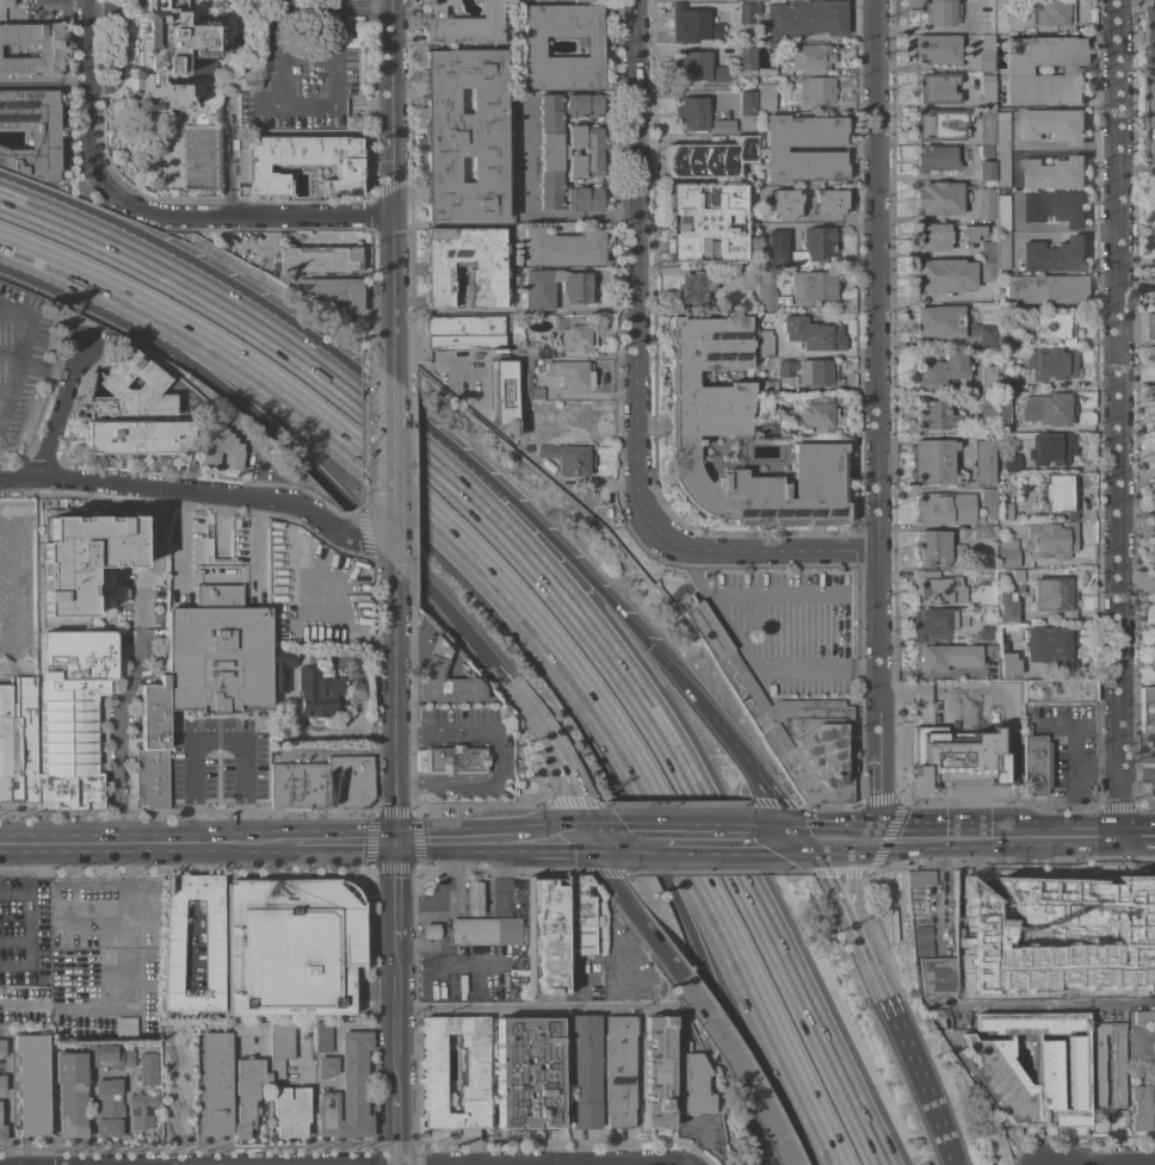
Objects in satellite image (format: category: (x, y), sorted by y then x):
building: (478, 0)
building: (581, 0)
building: (735, 0)
building: (48, 1)
building: (6, 2)
road: (334, 5)
building: (758, 7)
road: (362, 8)
building: (747, 12)
building: (934, 12)
building: (1054, 13)
building: (804, 18)
building: (986, 23)
building: (1002, 23)
building: (463, 24)
building: (693, 24)
building: (1150, 33)
building: (774, 44)
road: (116, 45)
building: (533, 45)
building: (49, 49)
building: (937, 49)
building: (166, 52)
building: (987, 52)
building: (809, 56)
building: (747, 57)
parking lot: (308, 67)
building: (700, 67)
building: (765, 70)
building: (1018, 70)
road: (43, 78)
road: (43, 86)
building: (937, 87)
building: (816, 89)
building: (988, 89)
building: (766, 97)
building: (746, 101)
road: (280, 105)
road: (366, 106)
road: (87, 107)
building: (691, 113)
building: (1151, 122)
building: (940, 124)
building: (1054, 124)
building: (722, 125)
building: (988, 125)
building: (1002, 130)
building: (32, 131)
building: (464, 134)
building: (5, 136)
building: (742, 141)
road: (931, 142)
building: (774, 148)
building: (585, 150)
building: (986, 150)
building: (550, 151)
building: (564, 151)
road: (1051, 151)
building: (696, 156)
building: (938, 157)
road: (230, 159)
building: (303, 162)
building: (748, 163)
building: (1002, 166)
building: (987, 171)
building: (1052, 173)
road: (932, 175)
road: (388, 188)
building: (940, 198)
building: (762, 199)
building: (810, 199)
road: (23, 200)
building: (986, 203)
road: (23, 204)
building: (784, 204)
building: (1054, 206)
road: (529, 207)
building: (1002, 213)
building: (765, 215)
road: (254, 216)
building: (706, 222)
road: (823, 223)
building: (972, 233)
road: (1052, 233)
building: (933, 236)
road: (268, 240)
building: (814, 246)
building: (562, 247)
building: (776, 247)
building: (989, 248)
building: (1002, 250)
building: (1054, 255)
building: (316, 259)
road: (42, 261)
building: (487, 266)
building: (988, 267)
road: (166, 273)
building: (556, 274)
building: (944, 274)
building: (748, 275)
building: (814, 285)
building: (577, 287)
building: (693, 287)
building: (1045, 289)
building: (334, 290)
building: (537, 290)
building: (766, 290)
road: (4, 311)
building: (938, 321)
building: (1054, 326)
building: (1153, 326)
building: (574, 331)
building: (465, 333)
building: (813, 334)
building: (981, 335)
building: (1005, 341)
building: (764, 343)
building: (533, 351)
road: (11, 352)
road: (19, 358)
building: (1051, 364)
road: (45, 367)
building: (941, 367)
building: (807, 371)
building: (572, 373)
building: (988, 378)
building: (152, 379)
building: (525, 380)
road: (635, 382)
building: (1007, 382)
building: (768, 386)
road: (5, 390)
building: (504, 394)
building: (988, 398)
building: (1048, 408)
road: (58, 411)
building: (817, 414)
building: (988, 414)
building: (1003, 414)
building: (935, 415)
road: (1118, 417)
road: (878, 419)
building: (708, 423)
building: (767, 428)
building: (137, 436)
building: (218, 447)
building: (1051, 447)
road: (304, 456)
building: (567, 458)
road: (364, 459)
building: (933, 460)
building: (983, 461)
building: (1011, 463)
road: (391, 470)
road: (191, 489)
road: (924, 489)
building: (1056, 492)
building: (1153, 495)
building: (989, 501)
building: (946, 507)
building: (1005, 512)
building: (980, 519)
building: (984, 531)
building: (1051, 539)
building: (937, 546)
building: (1153, 547)
building: (1008, 552)
road: (382, 553)
building: (82, 556)
road: (692, 560)
road: (572, 563)
building: (276, 564)
road: (217, 575)
building: (1015, 575)
building: (103, 580)
building: (332, 582)
building: (988, 584)
building: (937, 589)
road: (18, 591)
road: (776, 591)
building: (1055, 596)
building: (1006, 607)
building: (313, 618)
building: (938, 622)
building: (1000, 627)
building: (987, 632)
traffic signals: (649, 646)
building: (1051, 646)
building: (990, 650)
building: (1153, 652)
building: (218, 653)
building: (949, 656)
road: (751, 657)
road: (136, 661)
building: (1009, 663)
building: (433, 664)
building: (278, 669)
road: (864, 671)
road: (928, 674)
road: (1137, 682)
building: (1060, 692)
building: (320, 694)
road: (393, 704)
road: (525, 706)
road: (644, 706)
building: (72, 715)
building: (785, 719)
building: (1148, 724)
building: (18, 743)
building: (154, 746)
road: (498, 755)
road: (1077, 756)
building: (956, 757)
building: (456, 758)
road: (1099, 761)
building: (1036, 764)
road: (1138, 773)
parking lot: (1150, 775)
building: (323, 782)
road: (191, 791)
road: (577, 793)
road: (190, 817)
road: (248, 817)
road: (1138, 835)
road: (1001, 837)
road: (700, 838)
road: (789, 838)
road: (845, 838)
traffic signals: (881, 838)
traffic signals: (593, 839)
road: (613, 839)
traffic signals: (810, 839)
road: (551, 841)
traffic signals: (395, 843)
road: (452, 843)
road: (328, 844)
road: (130, 845)
road: (830, 873)
road: (850, 873)
road: (509, 874)
building: (920, 876)
road: (937, 893)
building: (474, 897)
road: (395, 904)
road: (631, 912)
building: (580, 916)
road: (850, 916)
building: (1105, 922)
road: (687, 929)
building: (431, 930)
building: (486, 930)
road: (719, 930)
building: (1151, 930)
building: (972, 931)
building: (546, 936)
building: (922, 941)
building: (292, 944)
building: (214, 947)
road: (446, 959)
road: (100, 974)
building: (937, 975)
road: (623, 989)
road: (24, 999)
road: (623, 1002)
road: (940, 1003)
road: (957, 1003)
road: (1057, 1003)
road: (646, 1006)
road: (509, 1008)
road: (959, 1010)
building: (1144, 1017)
road: (396, 1021)
building: (137, 1027)
building: (252, 1028)
road: (900, 1029)
building: (323, 1036)
building: (1142, 1045)
building: (280, 1046)
building: (1, 1047)
building: (104, 1054)
building: (129, 1055)
building: (1099, 1064)
building: (433, 1065)
building: (326, 1066)
building: (148, 1067)
building: (993, 1067)
road: (741, 1068)
building: (583, 1070)
building: (618, 1070)
building: (657, 1070)
building: (527, 1072)
park: (178, 1079)
road: (171, 1080)
building: (2, 1082)
building: (32, 1082)
building: (692, 1082)
building: (216, 1083)
road: (187, 1084)
building: (348, 1091)
building: (70, 1092)
building: (248, 1092)
road: (310, 1095)
road: (6, 1097)
building: (109, 1107)
building: (142, 1107)
building: (1141, 1107)
building: (290, 1110)
road: (396, 1120)
building: (2, 1132)
road: (180, 1151)
road: (947, 1153)
road: (1094, 1161)
road: (1100, 1163)
road: (661, 1164)

